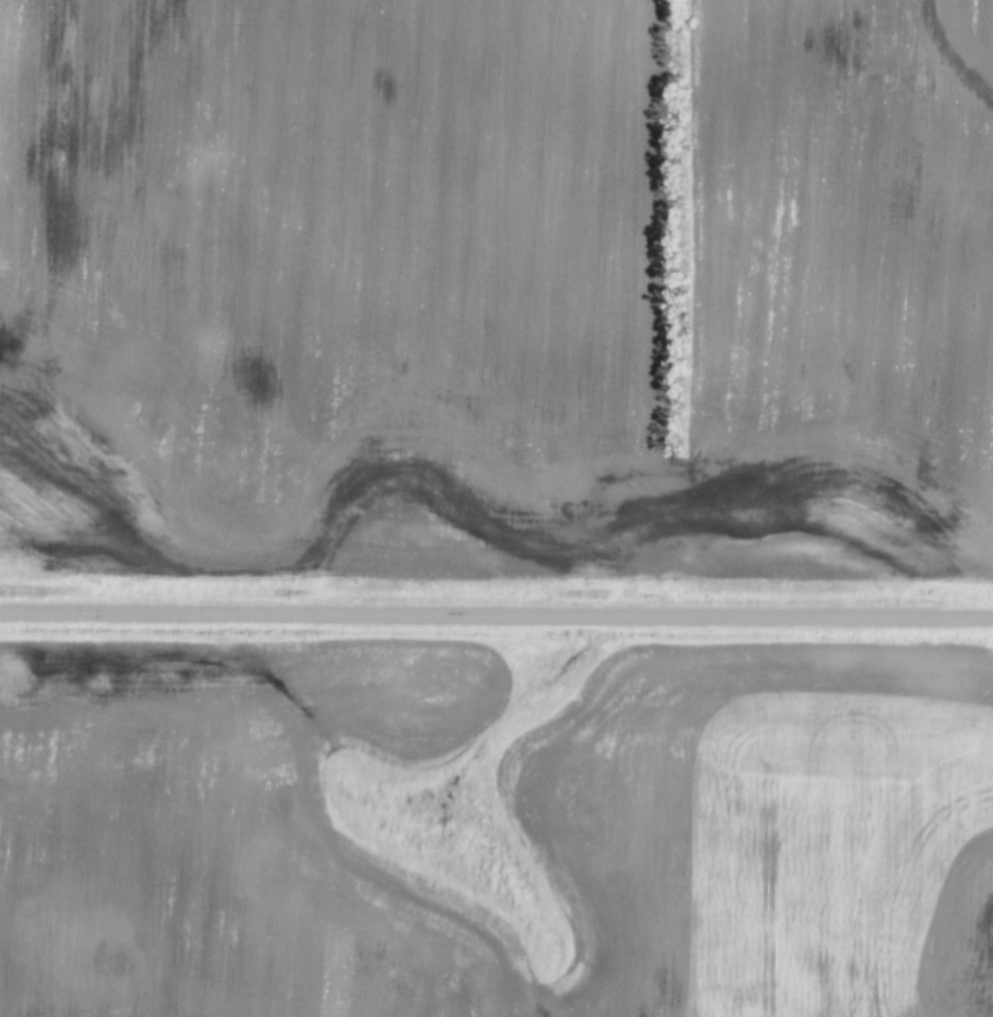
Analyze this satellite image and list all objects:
road: (496, 615)

